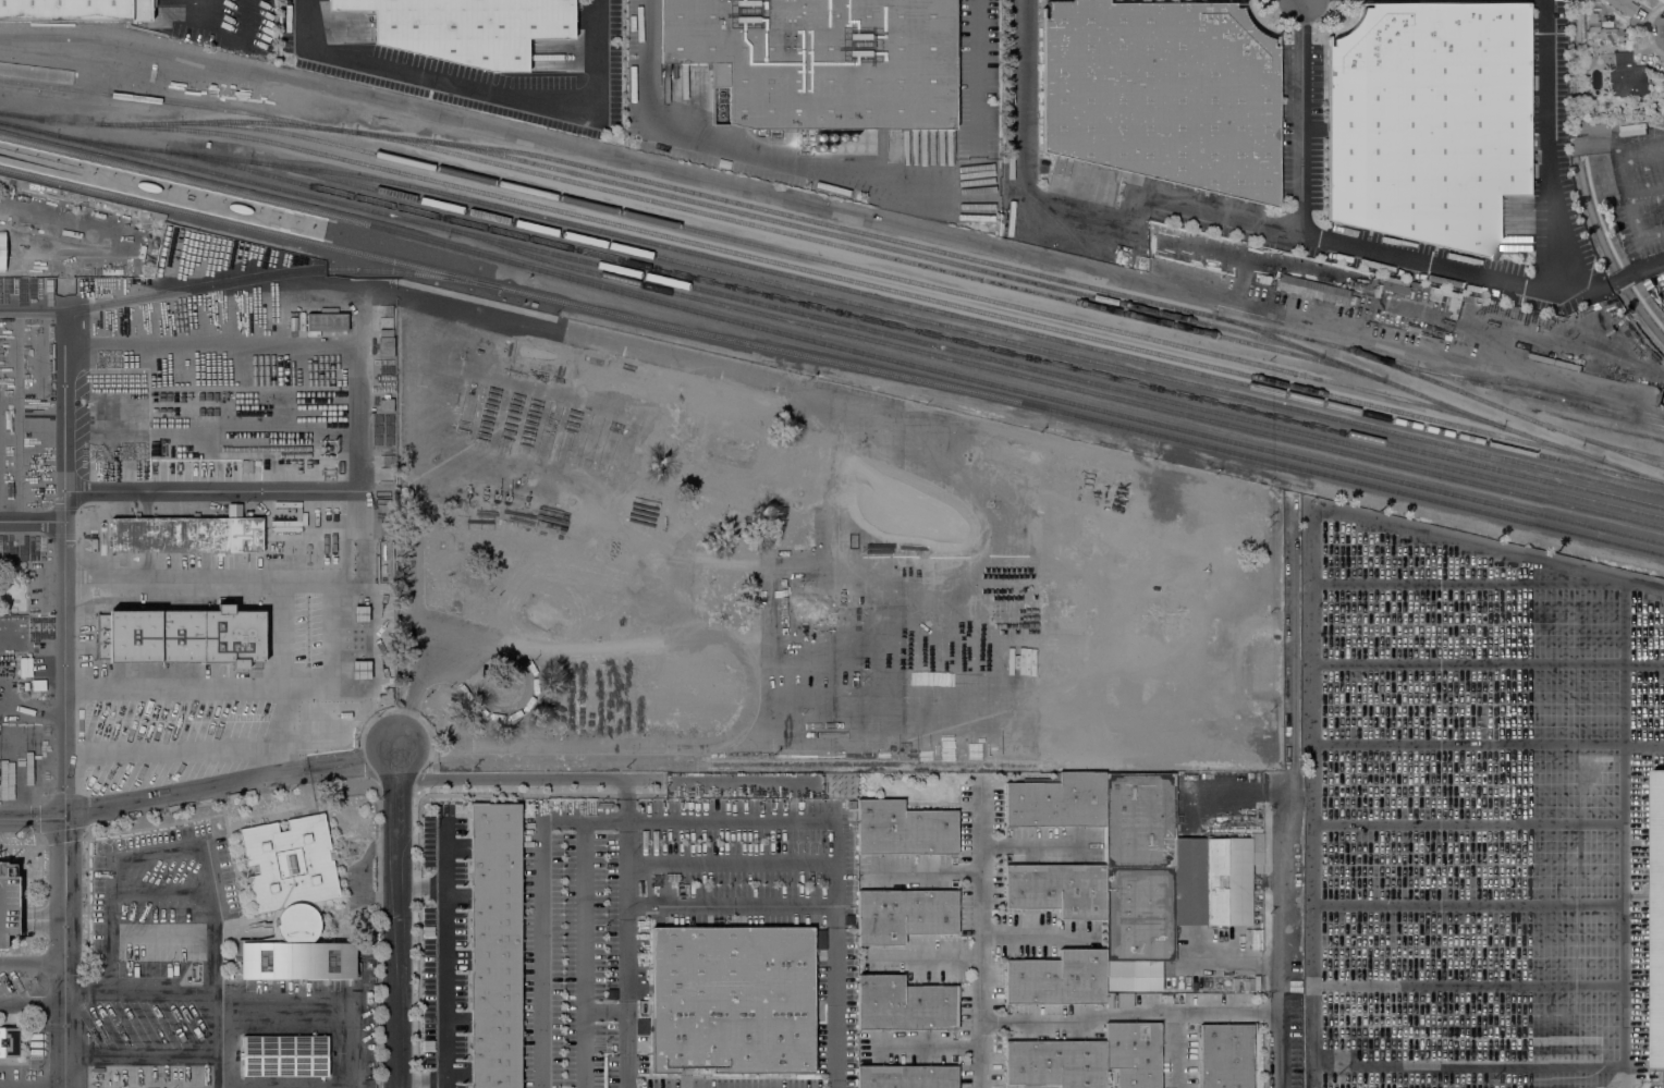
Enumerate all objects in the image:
building: (1623, 5)
road: (220, 9)
building: (74, 10)
building: (1593, 25)
building: (467, 27)
building: (821, 60)
building: (1627, 76)
railway: (72, 78)
road: (478, 91)
building: (1163, 94)
railway: (167, 100)
building: (1429, 121)
road: (1618, 162)
road: (846, 170)
road: (1607, 183)
road: (770, 193)
road: (1554, 193)
road: (1645, 196)
road: (1073, 207)
railway: (320, 224)
railway: (837, 225)
road: (1605, 228)
road: (1321, 237)
road: (1634, 237)
parking lot: (72, 239)
road: (130, 242)
railway: (880, 245)
railway: (867, 250)
railway: (843, 264)
railway: (247, 274)
railway: (853, 280)
building: (1311, 289)
railway: (864, 292)
building: (1354, 299)
road: (353, 303)
road: (1650, 303)
railway: (832, 319)
building: (327, 320)
building: (293, 323)
railway: (914, 329)
railway: (968, 331)
building: (386, 343)
railway: (831, 343)
railway: (832, 358)
railway: (1057, 382)
road: (1606, 391)
railway: (1541, 398)
railway: (1437, 400)
building: (386, 405)
railway: (1506, 408)
railway: (1554, 414)
road: (359, 419)
railway: (1587, 431)
railway: (1628, 451)
road: (33, 519)
road: (65, 529)
building: (187, 534)
road: (356, 538)
building: (383, 567)
road: (224, 587)
road: (318, 587)
road: (1479, 592)
building: (360, 613)
road: (1312, 632)
building: (182, 636)
road: (1488, 655)
building: (25, 667)
building: (360, 670)
building: (38, 685)
building: (23, 686)
road: (217, 687)
building: (387, 696)
road: (1489, 714)
road: (1292, 745)
road: (396, 753)
road: (1476, 774)
road: (528, 779)
road: (668, 779)
road: (198, 792)
parking lot: (1478, 811)
road: (1475, 820)
building: (1211, 827)
building: (904, 829)
road: (1037, 844)
road: (834, 867)
road: (925, 870)
building: (1121, 885)
road: (1466, 887)
road: (421, 888)
building: (291, 903)
building: (8, 904)
parking lot: (8, 904)
road: (1627, 905)
building: (904, 915)
building: (1657, 919)
road: (396, 925)
road: (627, 933)
road: (981, 933)
road: (1035, 934)
road: (415, 945)
building: (493, 945)
road: (1475, 950)
road: (65, 954)
road: (446, 954)
road: (1234, 955)
road: (33, 963)
road: (133, 994)
building: (732, 1000)
road: (33, 1003)
building: (904, 1004)
road: (836, 1007)
road: (1260, 1008)
road: (1111, 1013)
road: (1475, 1014)
road: (307, 1016)
road: (1281, 1039)
building: (9, 1042)
building: (285, 1055)
building: (1225, 1055)
building: (1089, 1059)
building: (907, 1076)
road: (1479, 1077)
road: (421, 1080)
road: (66, 1081)

